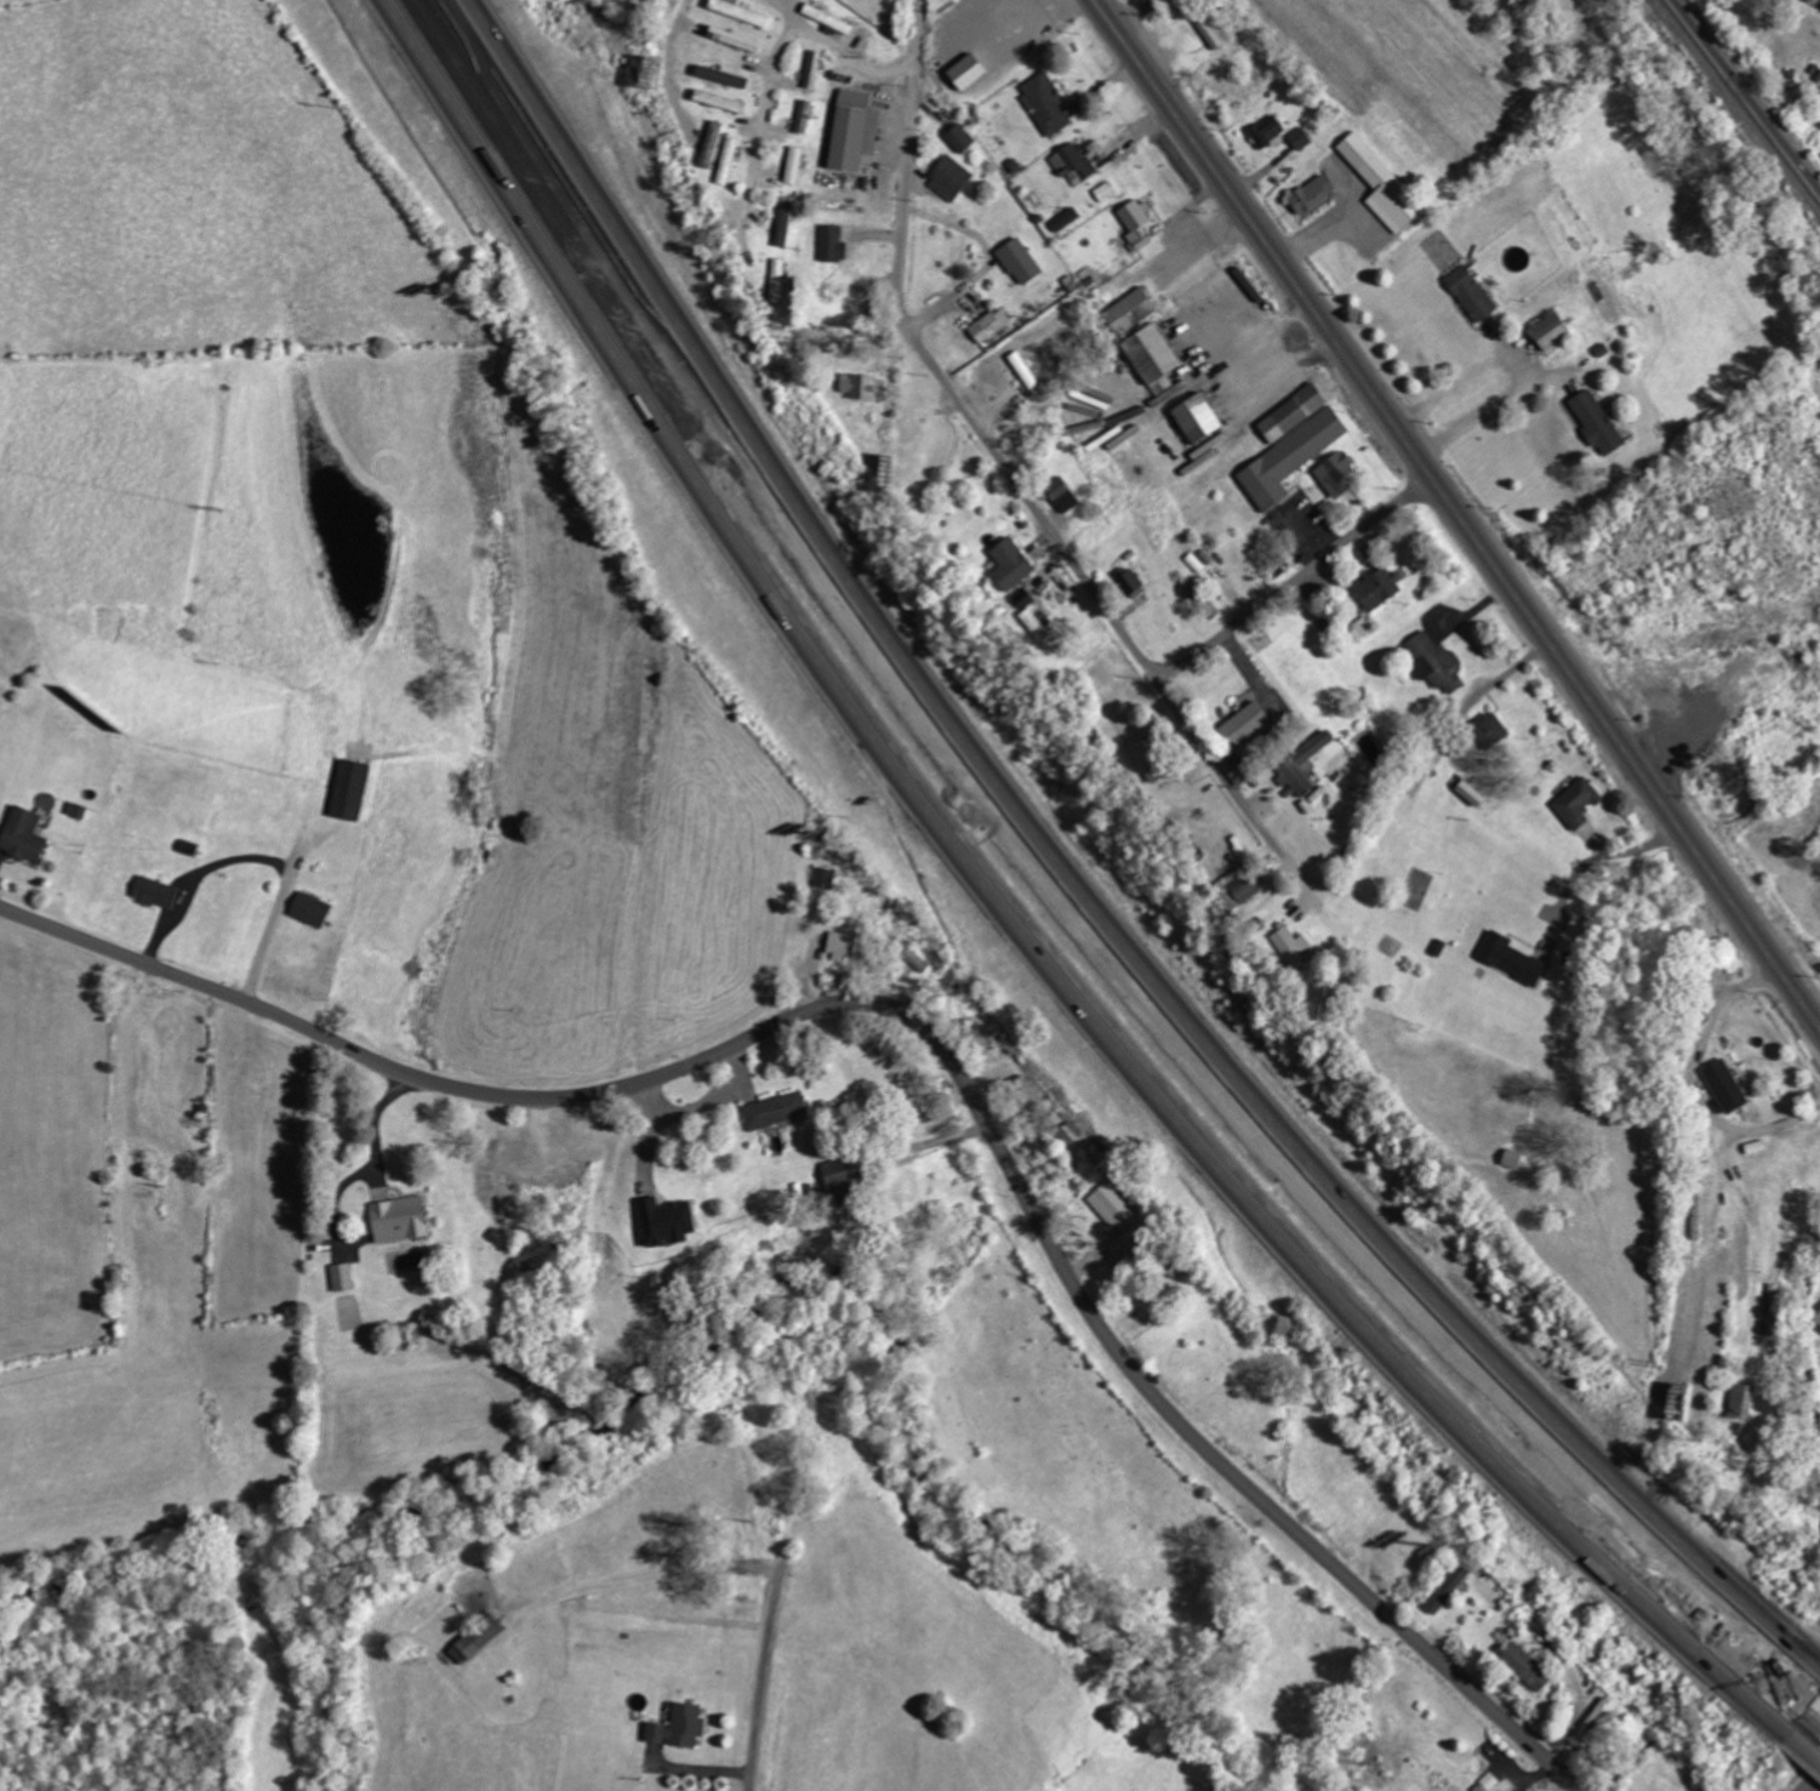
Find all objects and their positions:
road: (1819, 0)
building: (741, 11)
building: (828, 18)
building: (1208, 29)
building: (735, 38)
building: (814, 69)
building: (968, 70)
building: (723, 76)
railway: (1750, 91)
railway: (1742, 99)
building: (720, 101)
building: (1046, 103)
building: (805, 116)
building: (1267, 130)
building: (855, 131)
building: (962, 137)
building: (1300, 138)
building: (713, 144)
building: (729, 160)
building: (1076, 162)
building: (795, 164)
building: (951, 178)
building: (1382, 184)
building: (1313, 195)
building: (1066, 218)
building: (786, 223)
building: (1136, 223)
building: (833, 244)
building: (1020, 261)
building: (778, 280)
building: (1471, 292)
building: (1131, 310)
building: (991, 325)
building: (1552, 331)
building: (1153, 357)
building: (1026, 372)
building: (863, 386)
building: (1294, 412)
building: (1196, 416)
building: (1597, 422)
building: (1291, 458)
building: (1337, 474)
building: (1062, 494)
road: (1033, 507)
road: (1457, 512)
building: (1011, 564)
building: (1131, 582)
building: (1379, 588)
building: (1023, 598)
building: (1042, 629)
building: (1436, 662)
building: (1246, 725)
building: (1491, 730)
building: (1376, 753)
building: (1152, 759)
road: (1215, 763)
building: (1302, 764)
building: (1240, 772)
building: (350, 789)
building: (1473, 793)
building: (1577, 803)
building: (76, 810)
building: (23, 835)
building: (826, 878)
building: (1239, 886)
building: (155, 892)
road: (1072, 894)
building: (312, 909)
road: (1021, 917)
building: (843, 945)
building: (1295, 947)
building: (1512, 958)
road: (359, 1051)
building: (1725, 1086)
building: (1028, 1093)
building: (776, 1111)
building: (1068, 1135)
building: (846, 1173)
building: (1114, 1205)
building: (1698, 1208)
building: (400, 1220)
building: (667, 1221)
building: (343, 1277)
building: (1818, 1318)
road: (1134, 1373)
building: (1742, 1402)
building: (1449, 1590)
building: (478, 1639)
building: (1527, 1667)
building: (679, 1728)
road: (1803, 1734)
road: (1813, 1783)

